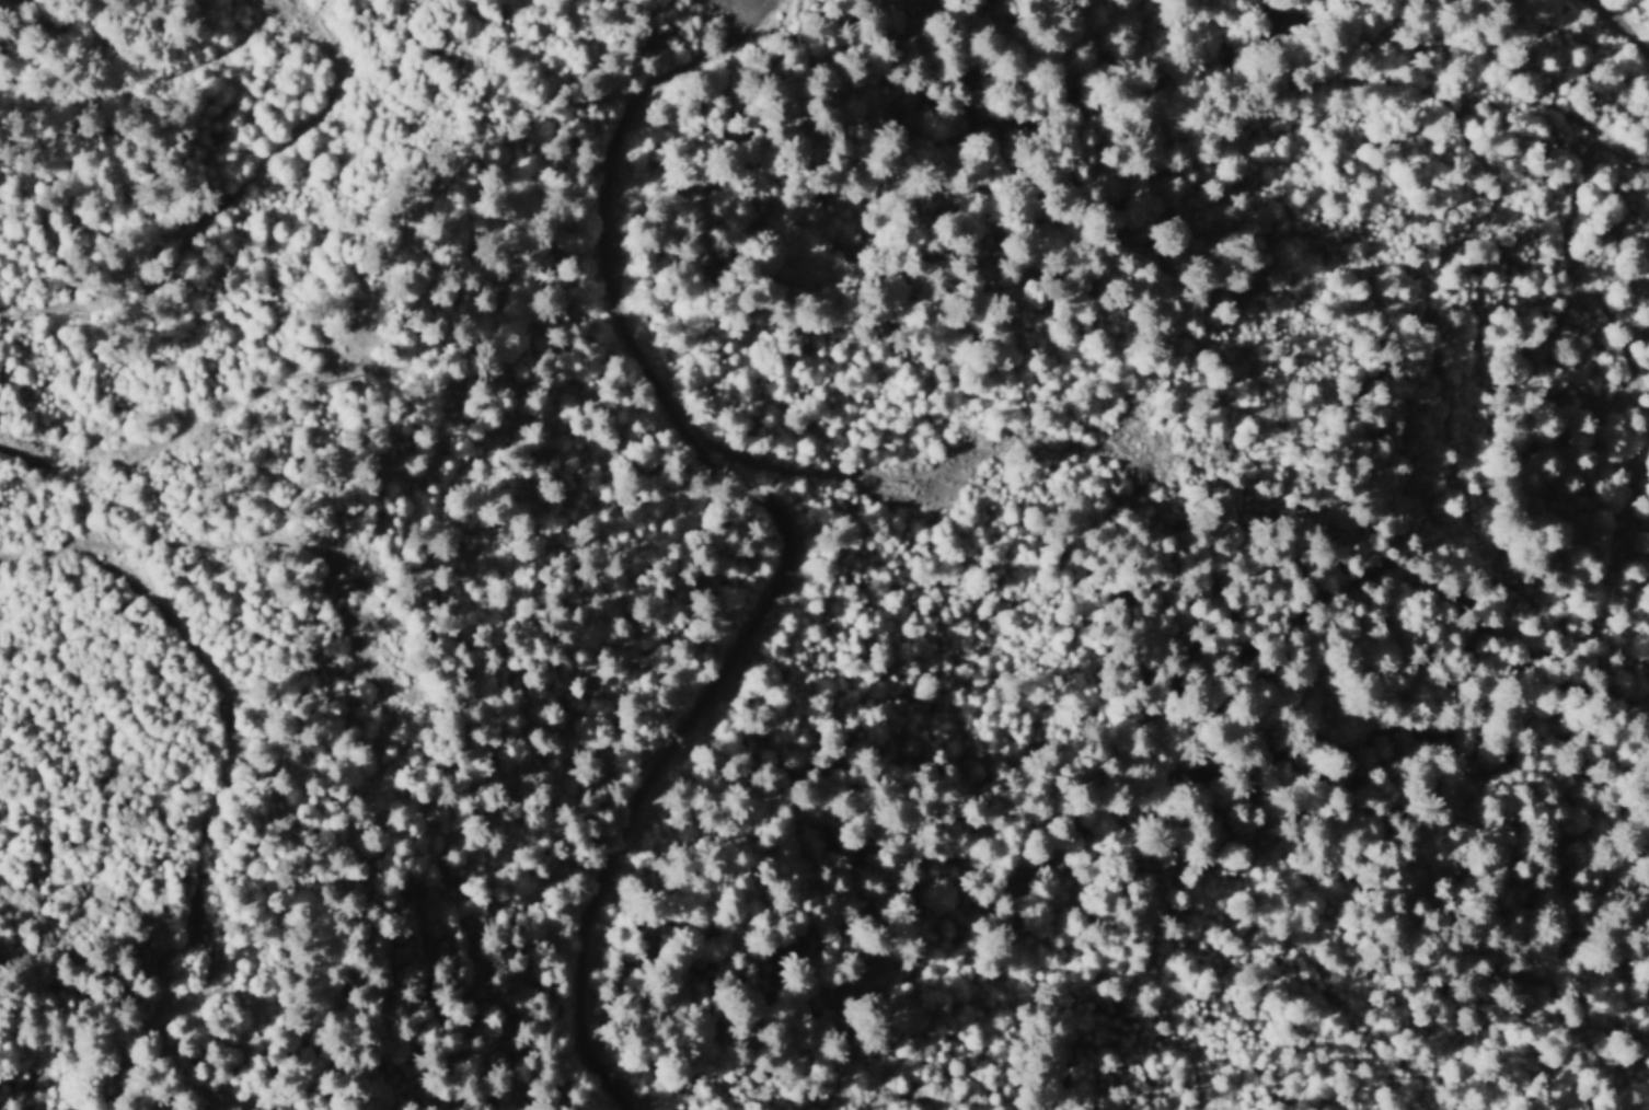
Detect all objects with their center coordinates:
road: (793, 9)
road: (814, 9)
road: (1589, 38)
road: (130, 80)

